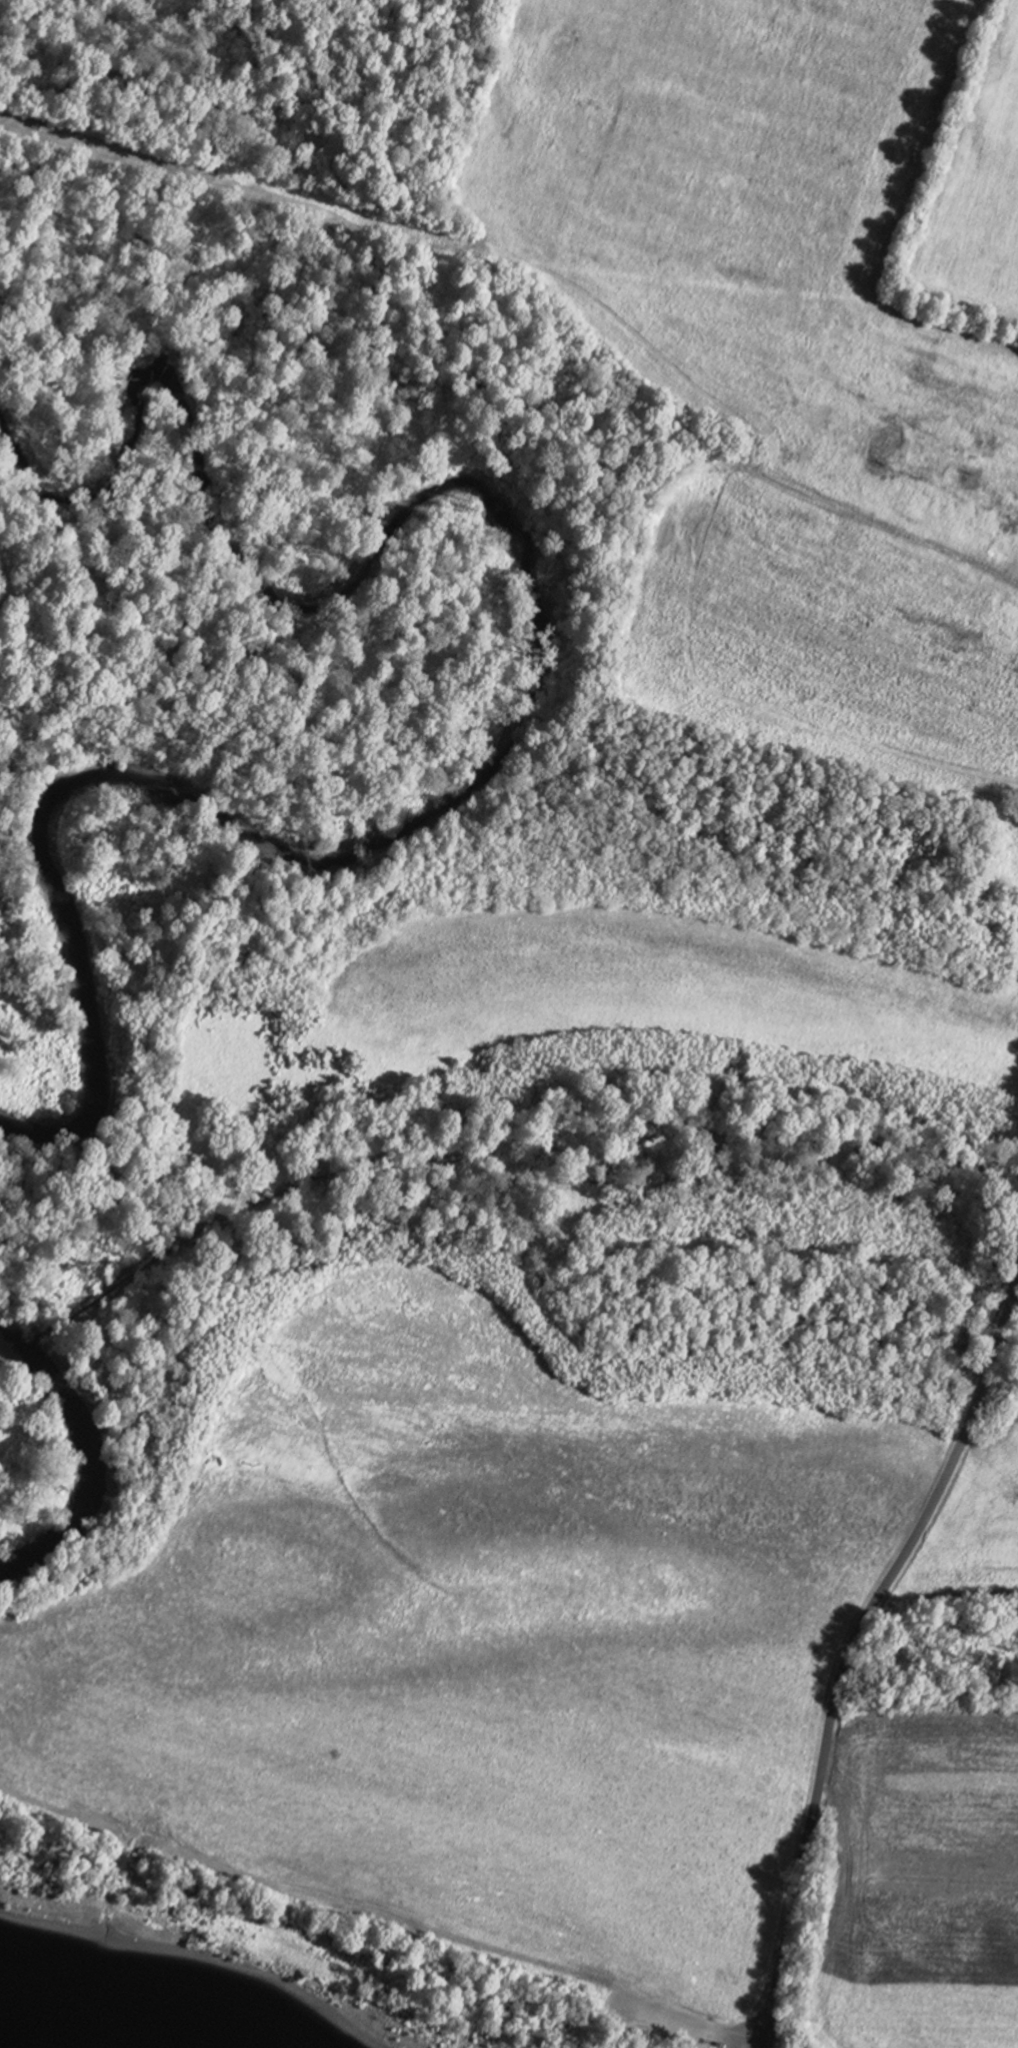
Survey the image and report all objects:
road: (833, 1715)

